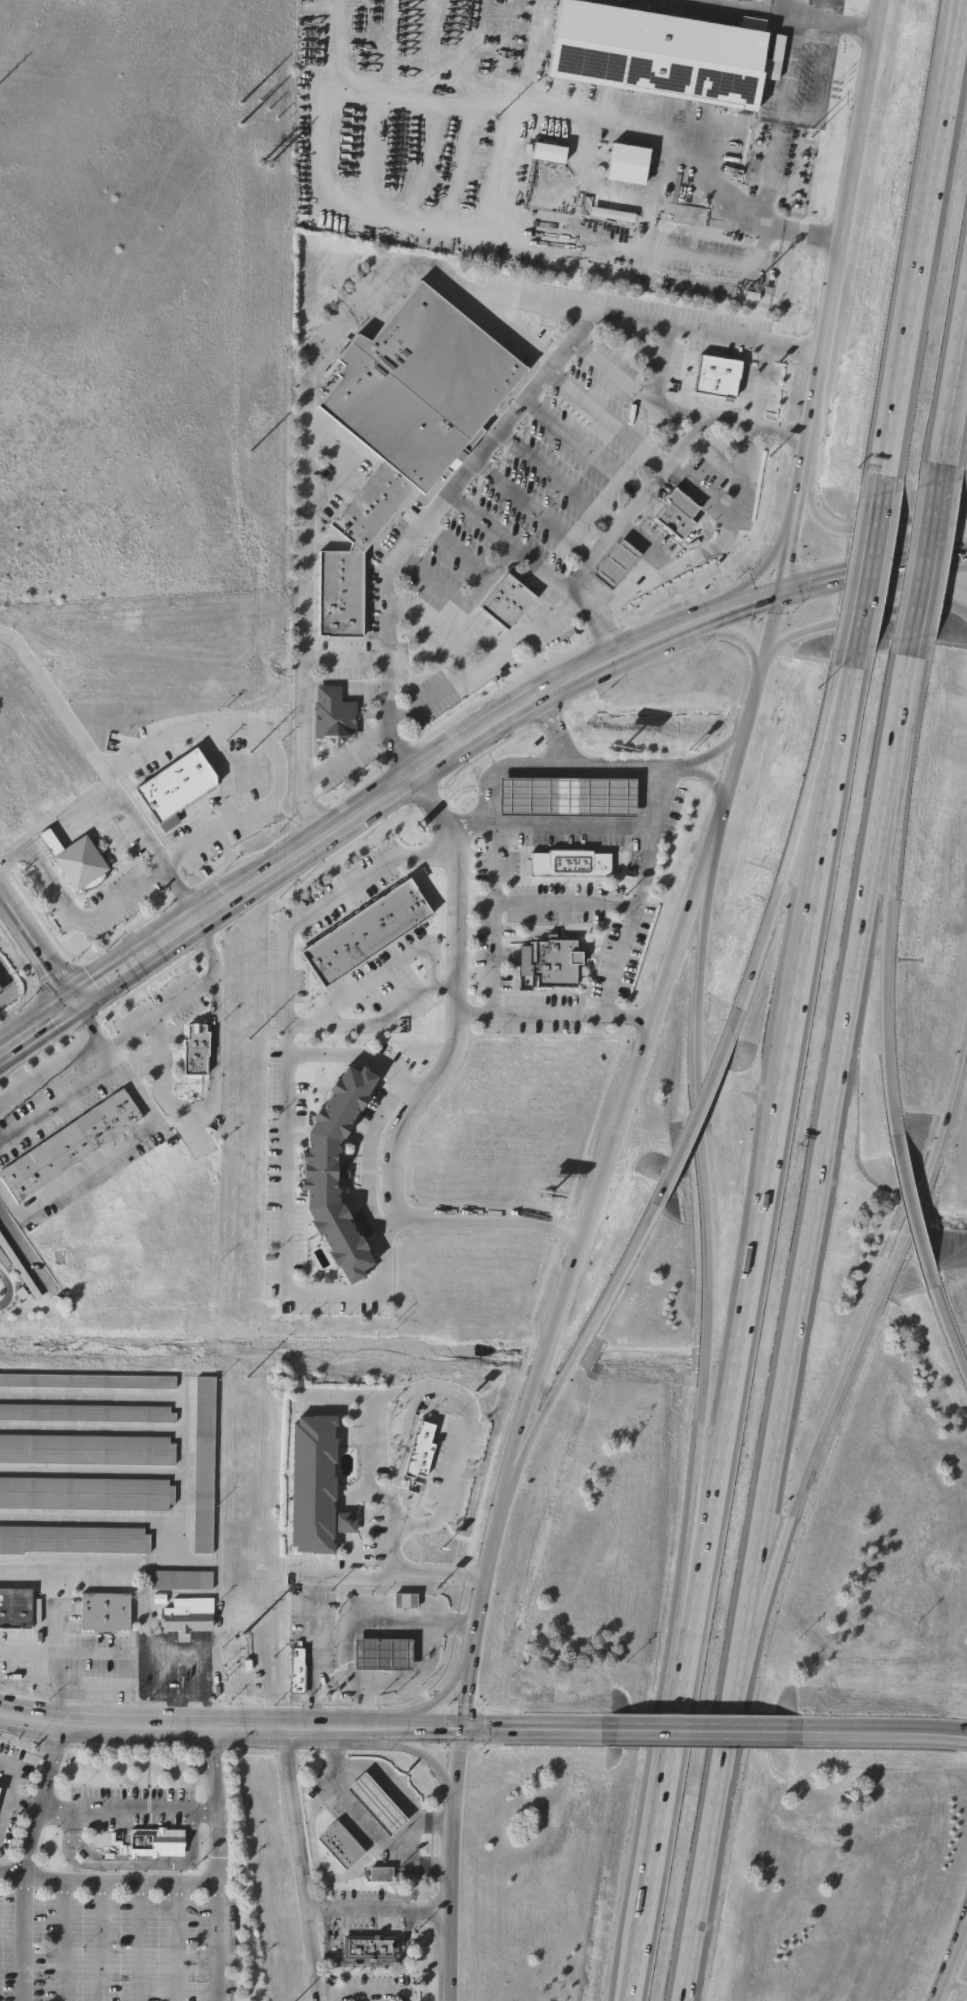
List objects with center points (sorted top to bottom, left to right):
road: (778, 16)
road: (953, 31)
building: (659, 55)
road: (787, 66)
power tower: (263, 80)
road: (821, 87)
power tower: (160, 107)
road: (942, 114)
power tower: (491, 122)
road: (654, 123)
power tower: (818, 136)
building: (548, 153)
building: (628, 165)
road: (770, 166)
building: (613, 216)
road: (841, 233)
parking lot: (622, 302)
parking lot: (546, 320)
parking lot: (623, 332)
road: (904, 355)
parking lot: (648, 356)
parking lot: (673, 360)
road: (957, 365)
road: (540, 373)
building: (717, 376)
parking lot: (757, 384)
road: (757, 385)
road: (644, 396)
road: (703, 415)
road: (603, 419)
power tower: (258, 423)
building: (402, 425)
road: (304, 440)
road: (580, 448)
parking lot: (572, 458)
parking lot: (711, 459)
road: (800, 478)
road: (555, 479)
parking lot: (748, 485)
road: (635, 505)
road: (794, 505)
road: (531, 510)
building: (674, 513)
road: (873, 523)
road: (930, 533)
parking lot: (654, 534)
road: (873, 534)
road: (713, 547)
road: (785, 558)
gas station: (613, 563)
building: (614, 564)
parking lot: (372, 581)
road: (748, 584)
parking lot: (537, 585)
traffic signals: (779, 593)
building: (504, 601)
road: (859, 614)
road: (859, 615)
parking lot: (453, 620)
road: (387, 627)
road: (734, 637)
road: (853, 647)
road: (487, 658)
parking lot: (342, 659)
building: (330, 716)
road: (743, 726)
road: (195, 732)
road: (455, 746)
road: (342, 756)
parking lot: (344, 757)
road: (609, 768)
road: (499, 770)
power tower: (251, 773)
road: (224, 774)
parking lot: (218, 776)
road: (114, 786)
building: (525, 797)
building: (602, 797)
road: (655, 797)
road: (137, 829)
road: (794, 830)
road: (44, 838)
road: (647, 844)
road: (17, 855)
building: (71, 860)
building: (567, 864)
parking lot: (103, 885)
road: (493, 893)
road: (562, 905)
road: (312, 912)
road: (82, 916)
building: (363, 932)
road: (886, 938)
parking lot: (0, 940)
road: (37, 946)
building: (553, 962)
road: (383, 971)
road: (5, 988)
building: (1, 991)
road: (183, 995)
road: (659, 1005)
road: (553, 1013)
road: (374, 1023)
building: (192, 1050)
road: (48, 1067)
road: (422, 1082)
road: (701, 1097)
road: (204, 1102)
road: (58, 1104)
road: (950, 1113)
road: (774, 1118)
road: (130, 1135)
building: (71, 1146)
road: (368, 1154)
road: (824, 1164)
building: (317, 1176)
road: (284, 1192)
road: (909, 1215)
road: (704, 1222)
road: (909, 1228)
power tower: (245, 1242)
road: (560, 1312)
road: (947, 1326)
road: (589, 1329)
building: (88, 1382)
road: (466, 1404)
building: (86, 1413)
building: (87, 1449)
building: (205, 1466)
road: (803, 1476)
building: (318, 1487)
building: (86, 1493)
road: (380, 1496)
building: (73, 1539)
road: (486, 1567)
building: (179, 1580)
building: (407, 1600)
building: (16, 1608)
building: (106, 1611)
road: (311, 1615)
building: (186, 1618)
road: (352, 1620)
power tower: (238, 1651)
road: (96, 1653)
building: (386, 1654)
gas station: (386, 1654)
building: (298, 1672)
road: (53, 1690)
road: (462, 1695)
road: (435, 1702)
road: (304, 1730)
road: (704, 1730)
traffic signals: (458, 1731)
road: (727, 1731)
road: (882, 1731)
road: (433, 1767)
road: (377, 1784)
road: (5, 1793)
road: (663, 1793)
building: (372, 1804)
gas station: (372, 1804)
road: (36, 1810)
road: (125, 1811)
building: (157, 1843)
building: (343, 1846)
road: (212, 1864)
road: (297, 1865)
road: (450, 1865)
road: (407, 1866)
building: (383, 1875)
road: (114, 1883)
road: (701, 1890)
road: (376, 1909)
road: (18, 1939)
road: (59, 1940)
road: (169, 1941)
road: (93, 1942)
road: (136, 1942)
building: (371, 1948)
road: (950, 1959)
road: (954, 1984)
road: (362, 1994)

